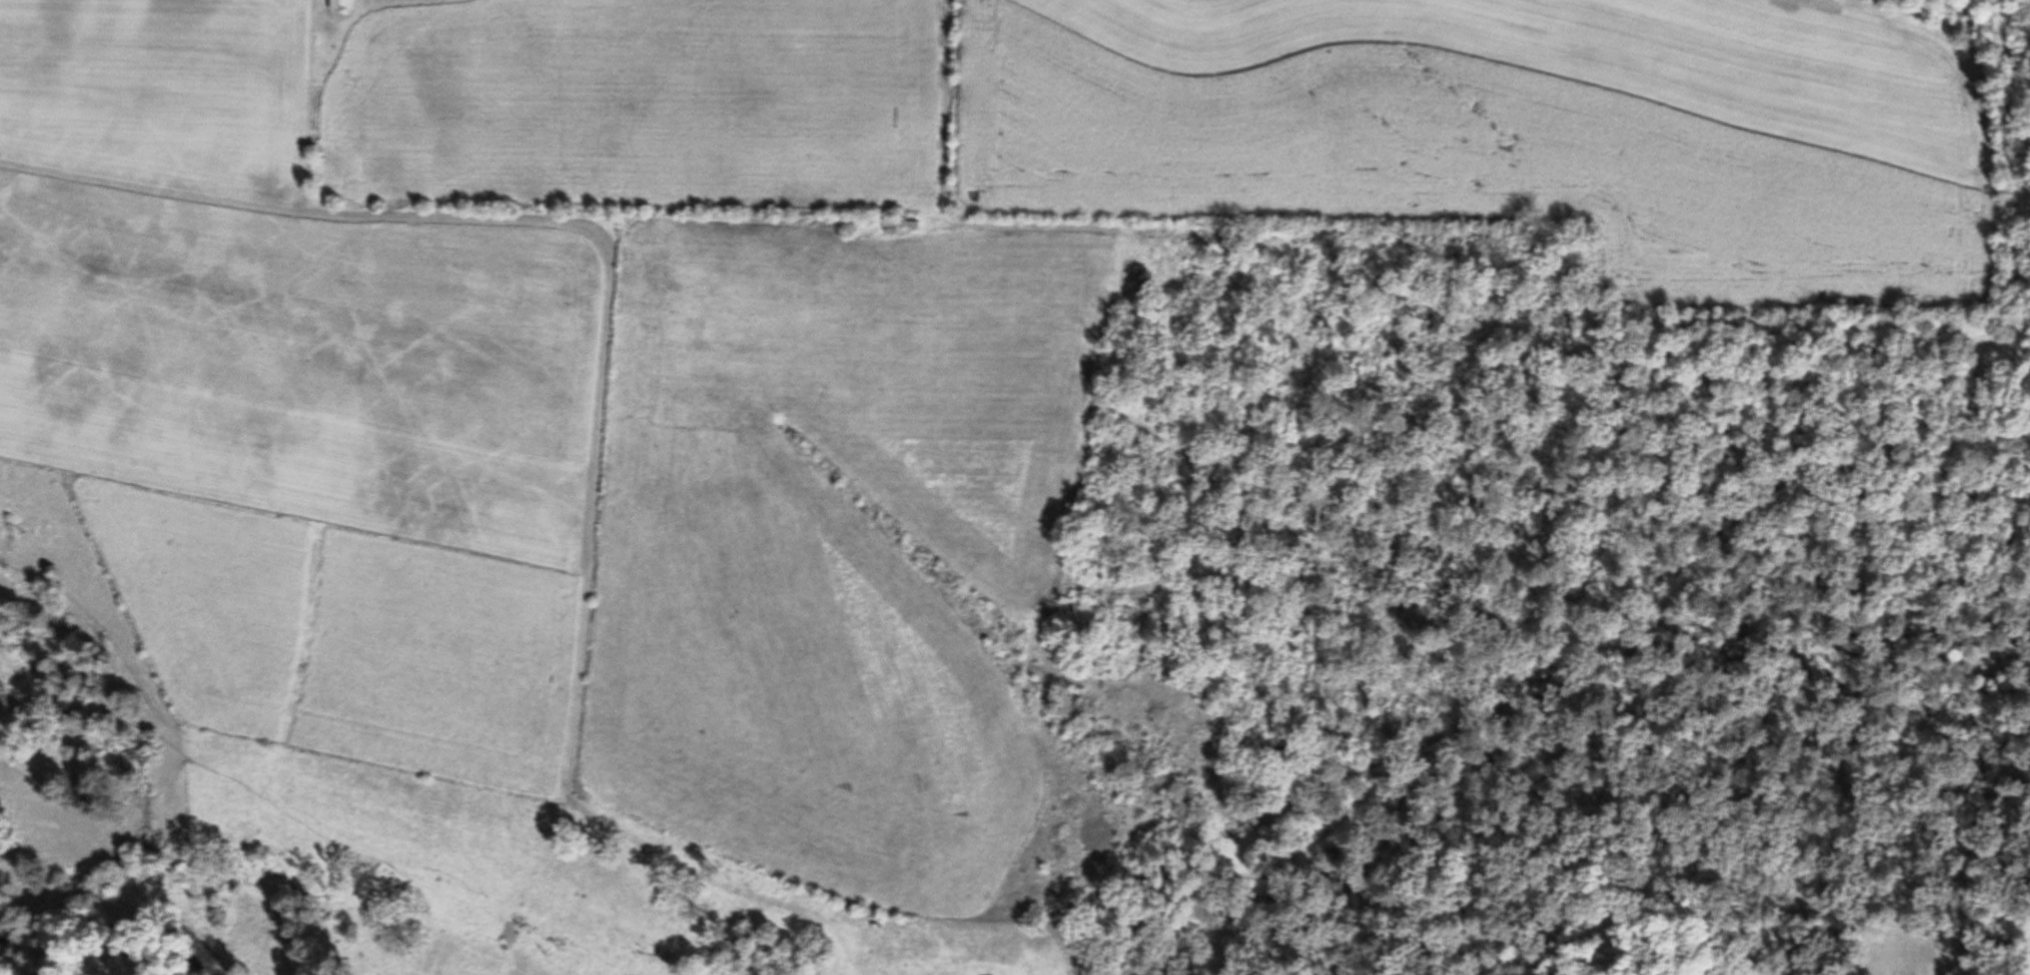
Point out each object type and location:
building: (340, 5)
road: (947, 114)

